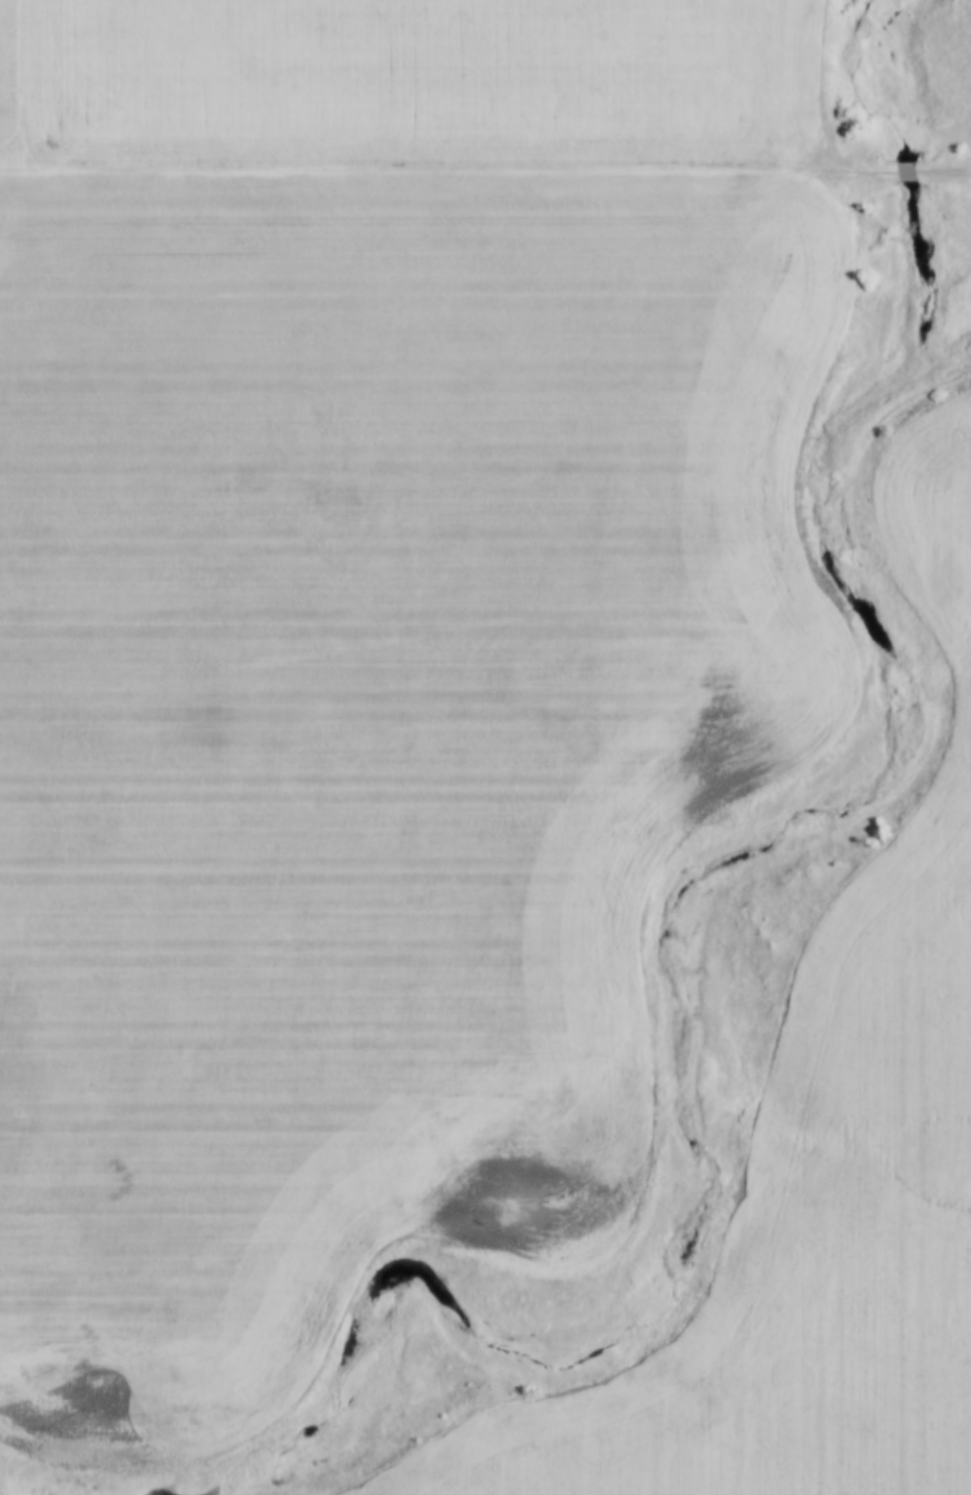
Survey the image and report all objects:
road: (793, 90)
road: (943, 165)
road: (863, 166)
road: (905, 166)

